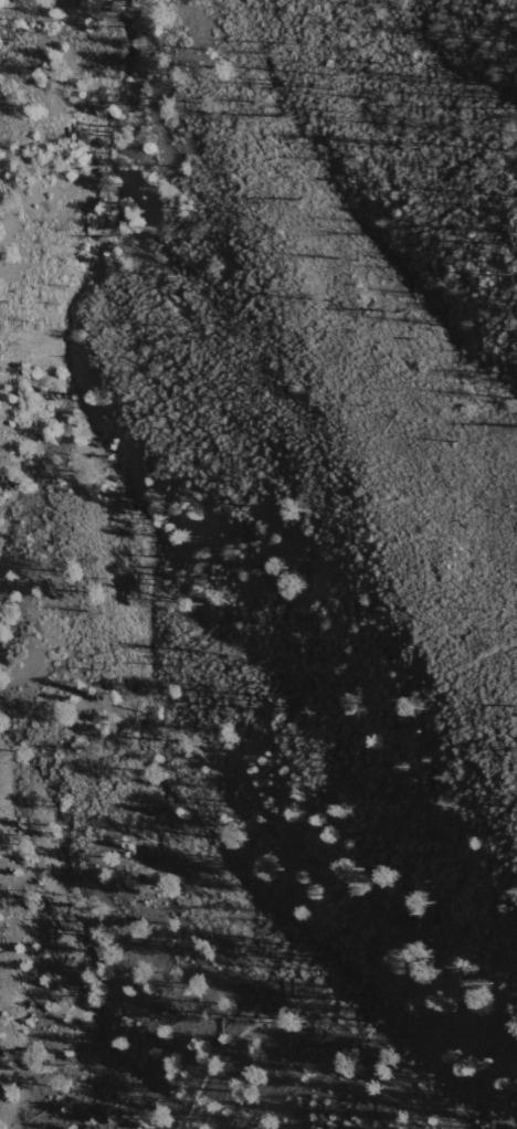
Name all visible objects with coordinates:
road: (372, 904)

